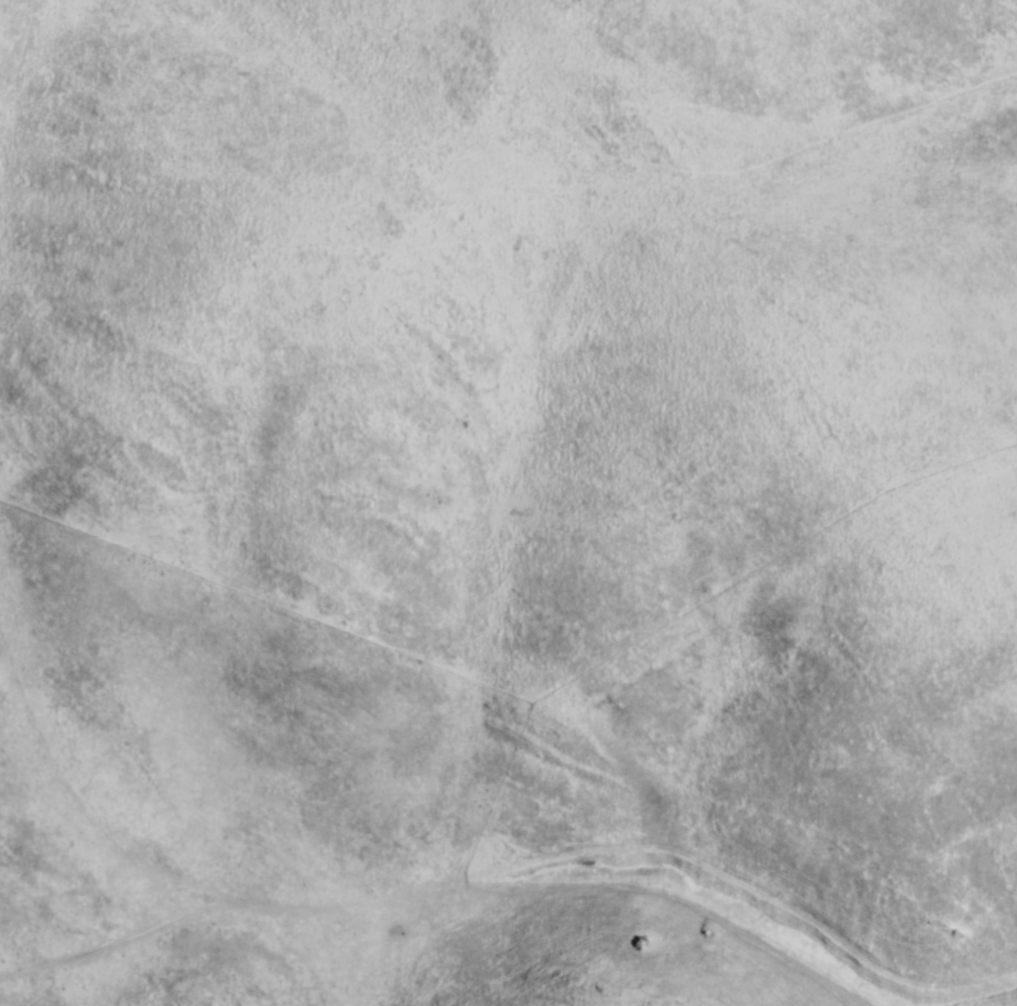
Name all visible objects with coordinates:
road: (521, 875)

